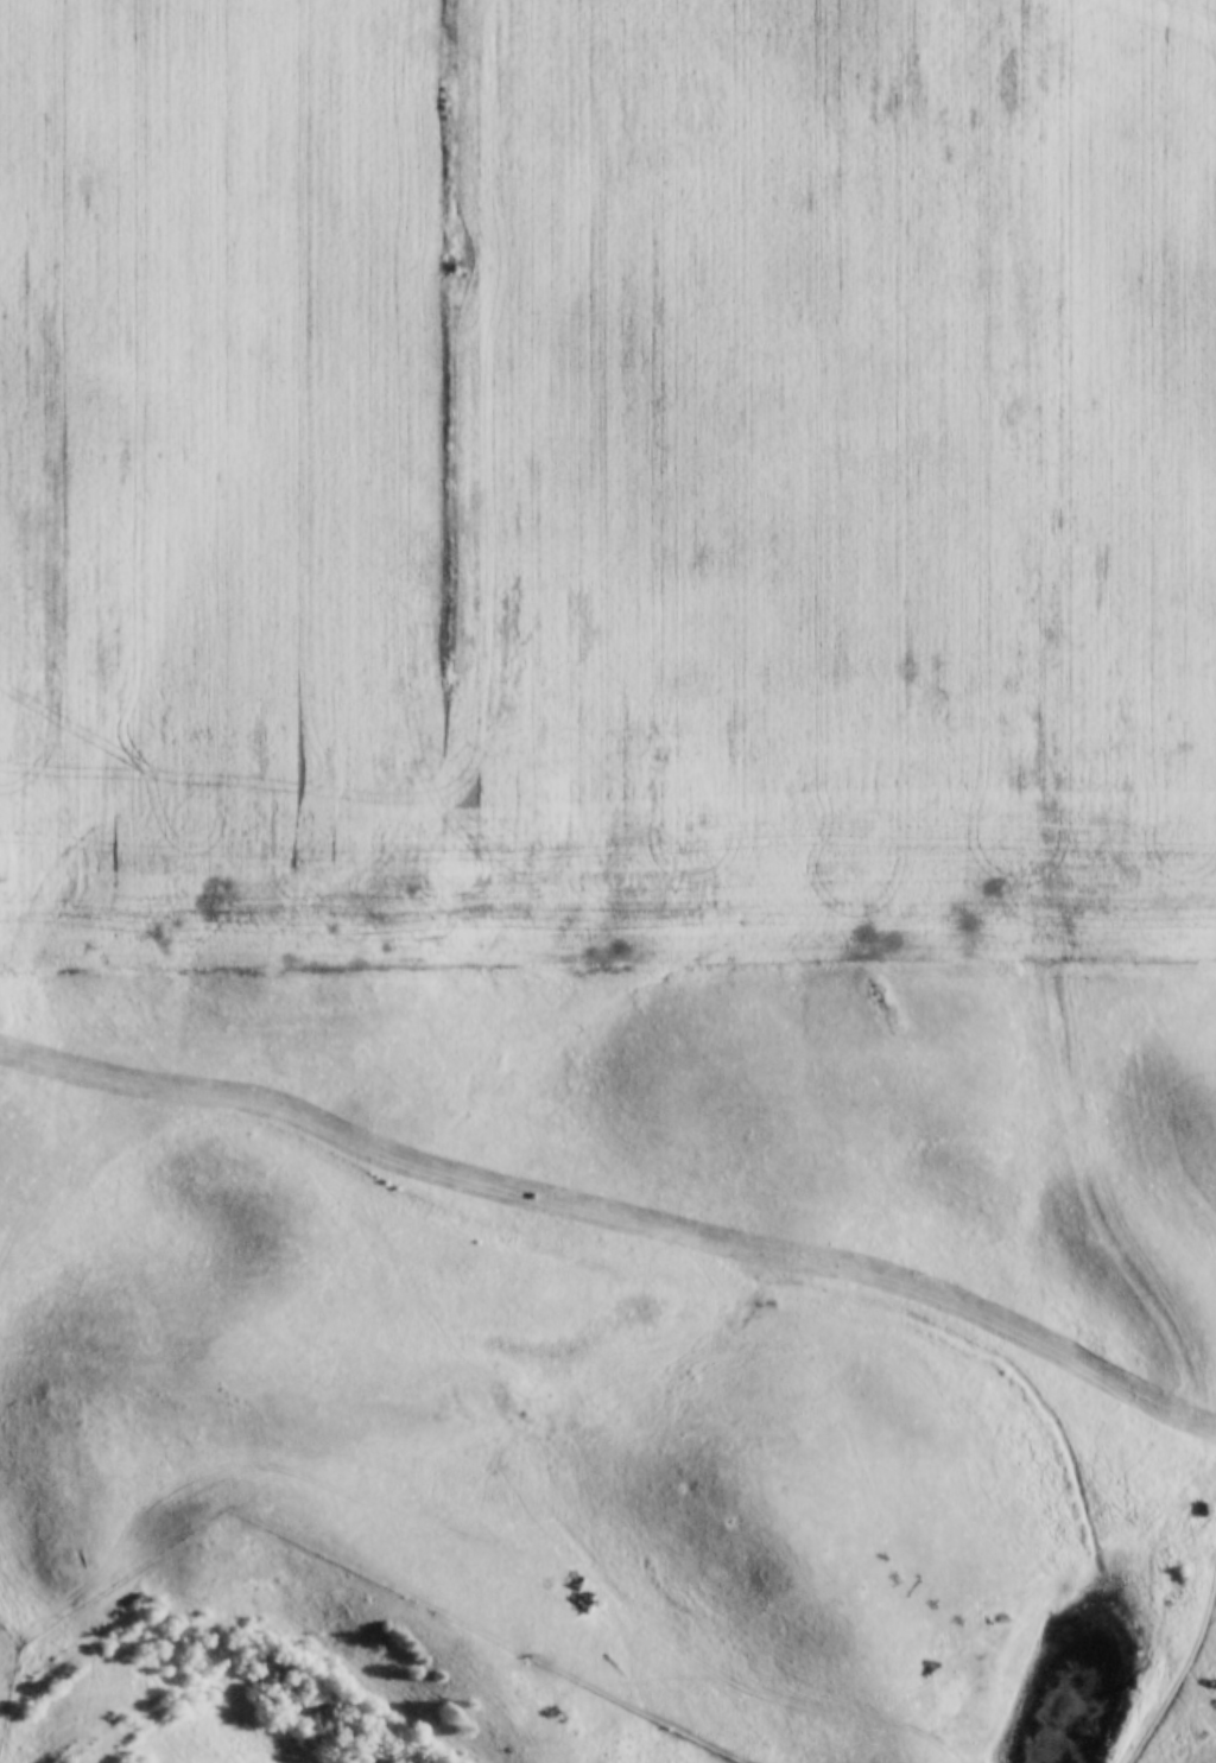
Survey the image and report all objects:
road: (1199, 1353)
building: (1202, 1508)
road: (1182, 1683)

